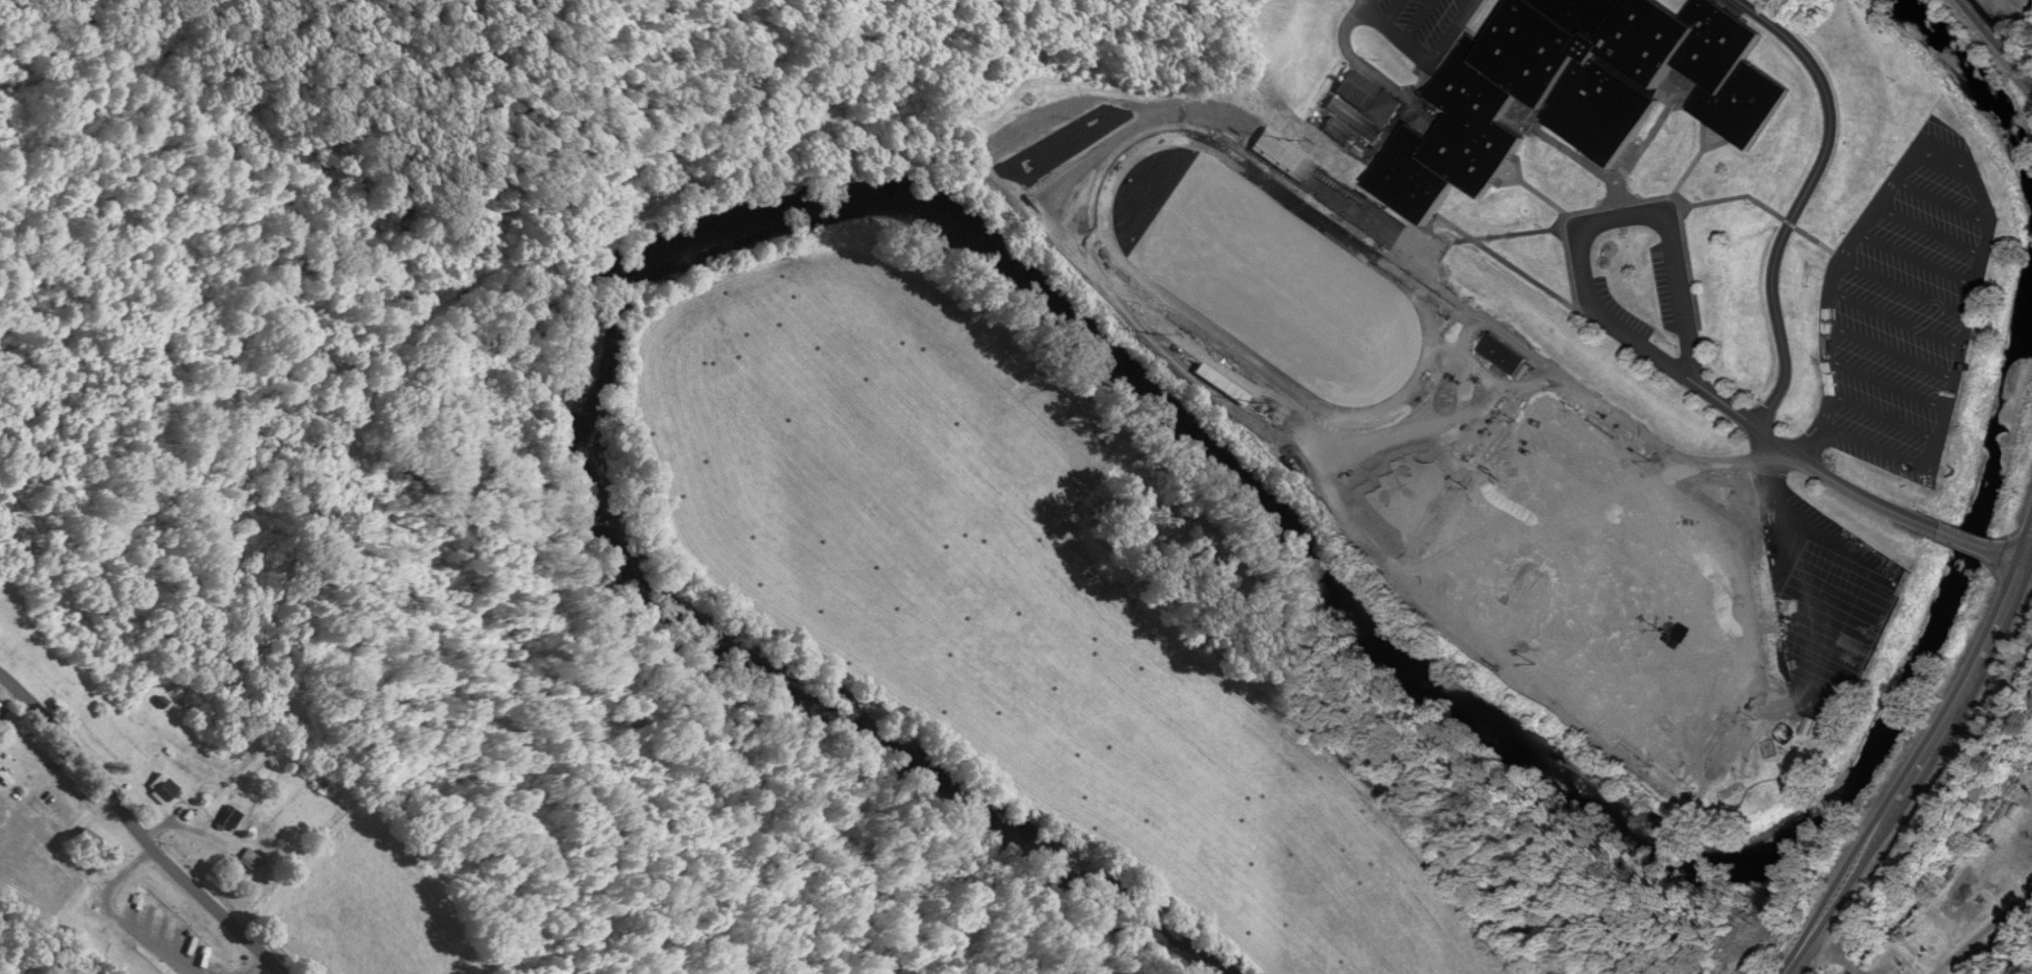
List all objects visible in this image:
road: (1999, 39)
river: (1979, 90)
building: (1586, 92)
building: (1365, 107)
building: (1328, 189)
road: (1943, 205)
road: (1932, 229)
road: (1920, 257)
road: (1982, 261)
parking lot: (1664, 286)
road: (1908, 288)
road: (1833, 293)
parking lot: (1623, 310)
parking lot: (1906, 310)
river: (1049, 312)
road: (1898, 319)
road: (1627, 334)
road: (1892, 351)
building: (1505, 355)
road: (1888, 382)
road: (1883, 414)
road: (1814, 440)
road: (1889, 448)
road: (1967, 538)
road: (2012, 551)
road: (1922, 762)
building: (162, 789)
building: (2012, 812)
building: (229, 819)
road: (135, 829)
building: (89, 839)
building: (249, 860)
road: (1985, 932)
road: (1835, 956)

